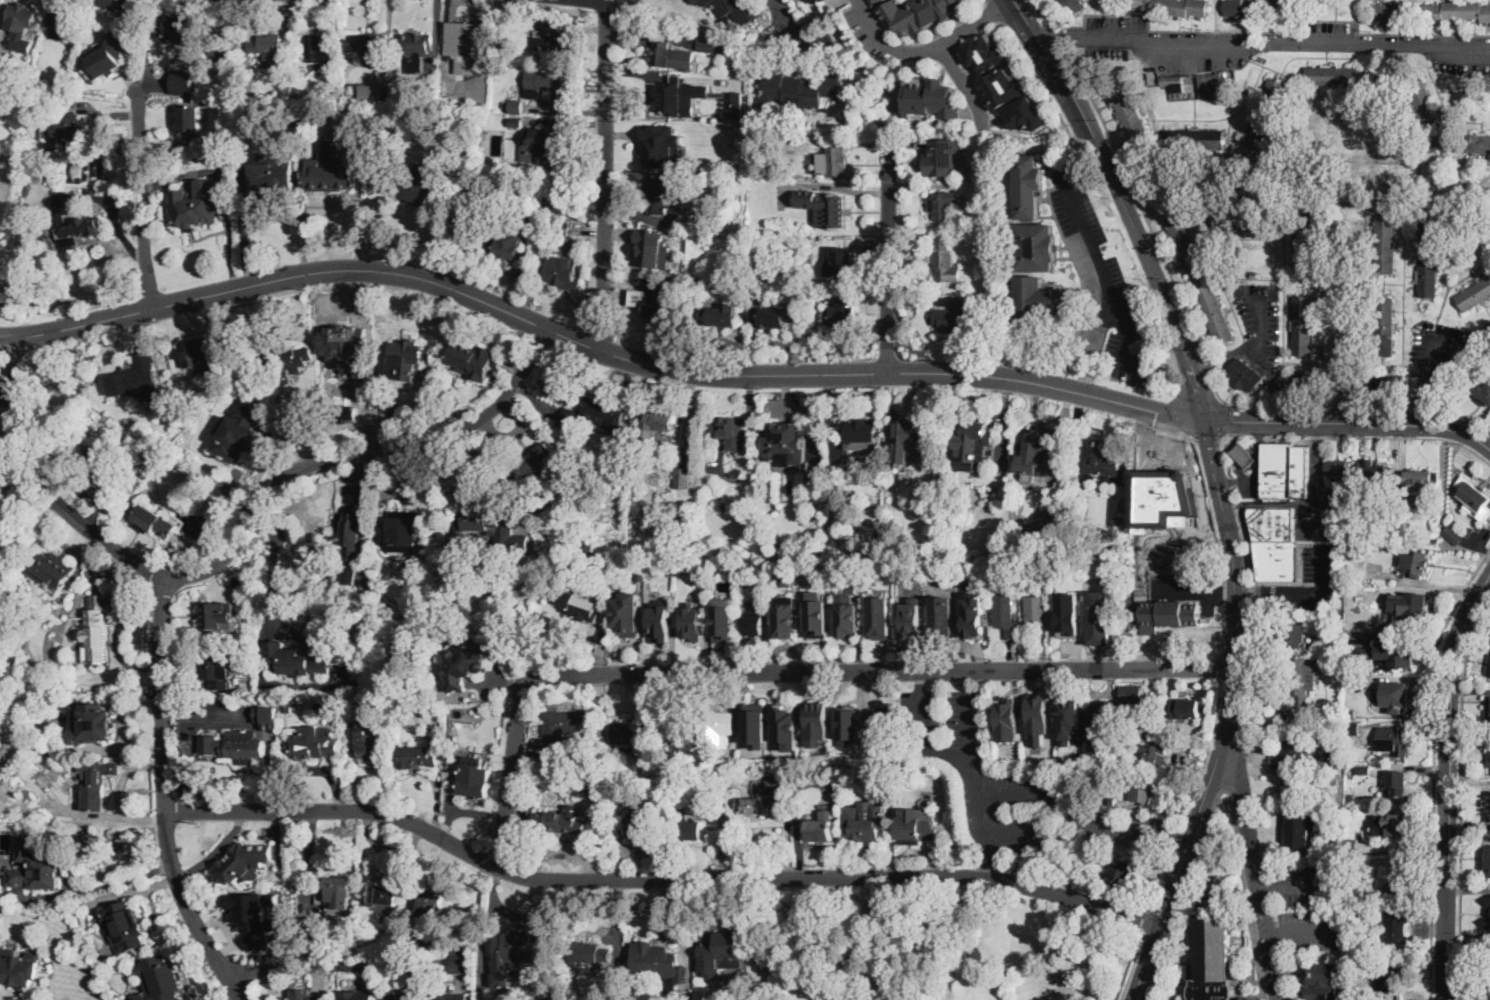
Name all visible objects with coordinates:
building: (694, 1)
building: (818, 1)
building: (875, 1)
building: (111, 4)
road: (591, 5)
building: (1073, 5)
building: (1176, 6)
building: (1253, 6)
building: (1457, 10)
building: (736, 11)
road: (995, 11)
building: (1391, 11)
building: (920, 13)
road: (1040, 13)
building: (20, 18)
building: (60, 26)
road: (790, 26)
building: (182, 30)
road: (1046, 38)
road: (1056, 38)
building: (552, 40)
building: (364, 43)
building: (467, 44)
building: (713, 45)
building: (268, 46)
building: (320, 48)
building: (415, 49)
road: (931, 49)
road: (1043, 49)
building: (984, 52)
building: (108, 56)
building: (671, 56)
building: (892, 60)
building: (293, 68)
building: (731, 72)
building: (22, 73)
building: (1346, 75)
road: (1039, 80)
building: (182, 81)
building: (1174, 82)
building: (22, 83)
building: (1209, 84)
building: (549, 85)
road: (964, 86)
building: (1001, 86)
building: (801, 89)
building: (373, 92)
building: (246, 94)
building: (681, 95)
building: (930, 96)
building: (406, 97)
building: (734, 103)
building: (514, 106)
building: (1265, 112)
building: (1023, 114)
building: (1130, 115)
building: (455, 116)
building: (1427, 116)
building: (188, 118)
building: (515, 122)
building: (760, 131)
building: (70, 132)
building: (1194, 137)
building: (1481, 142)
building: (482, 145)
building: (547, 145)
building: (662, 145)
building: (52, 146)
building: (222, 157)
building: (941, 159)
building: (833, 162)
building: (328, 170)
building: (272, 175)
road: (605, 178)
building: (1028, 186)
building: (420, 187)
building: (661, 194)
road: (1139, 202)
building: (196, 203)
road: (144, 204)
building: (943, 205)
building: (823, 206)
building: (523, 218)
building: (1248, 225)
building: (562, 228)
building: (79, 231)
building: (1185, 241)
building: (1385, 242)
building: (1035, 247)
building: (1303, 247)
building: (651, 248)
building: (507, 249)
road: (1147, 255)
building: (1428, 255)
road: (886, 260)
building: (945, 260)
building: (842, 263)
building: (562, 273)
building: (768, 273)
road: (304, 274)
building: (730, 276)
road: (1105, 281)
parking lot: (1102, 290)
building: (1474, 294)
building: (659, 300)
building: (1032, 302)
building: (842, 312)
building: (1215, 313)
building: (720, 314)
building: (778, 317)
building: (955, 317)
parking lot: (1261, 322)
building: (1303, 325)
building: (1384, 326)
road: (1099, 331)
building: (205, 352)
building: (286, 358)
building: (406, 359)
building: (472, 360)
building: (127, 362)
building: (241, 362)
road: (1207, 366)
road: (903, 372)
building: (1245, 375)
building: (135, 378)
building: (1296, 381)
road: (1085, 382)
building: (1389, 382)
building: (1483, 387)
building: (8, 391)
road: (1194, 394)
road: (1341, 409)
building: (595, 416)
road: (1179, 416)
road: (1228, 419)
traffic signals: (1203, 420)
building: (658, 422)
road: (1349, 423)
building: (73, 428)
building: (728, 428)
building: (859, 431)
building: (976, 433)
building: (790, 436)
road: (1260, 437)
building: (237, 438)
road: (1208, 438)
road: (1381, 438)
building: (905, 439)
road: (1223, 441)
building: (1036, 442)
building: (1101, 451)
road: (1258, 452)
building: (1244, 455)
road: (1320, 456)
building: (536, 460)
building: (99, 466)
building: (1337, 467)
building: (1286, 470)
building: (1375, 470)
building: (683, 477)
building: (1420, 480)
road: (1231, 481)
road: (1246, 482)
road: (1226, 483)
road: (267, 495)
building: (1474, 498)
building: (1163, 499)
building: (1361, 501)
road: (1279, 503)
building: (1119, 519)
building: (154, 520)
building: (485, 522)
road: (1336, 523)
building: (1271, 524)
building: (1381, 526)
building: (401, 532)
building: (1453, 534)
building: (1432, 540)
road: (1219, 541)
building: (351, 545)
building: (567, 545)
building: (559, 546)
building: (588, 548)
building: (1277, 559)
building: (1415, 562)
road: (270, 566)
building: (53, 567)
building: (1355, 575)
building: (640, 576)
building: (424, 577)
building: (786, 581)
building: (743, 582)
building: (525, 588)
road: (1184, 592)
road: (1225, 592)
road: (1247, 592)
road: (1313, 594)
building: (575, 603)
building: (1395, 604)
road: (1249, 605)
building: (544, 612)
building: (627, 613)
building: (217, 614)
building: (847, 614)
building: (1068, 614)
building: (1169, 614)
building: (942, 615)
building: (972, 615)
building: (1005, 615)
building: (1036, 615)
building: (723, 617)
building: (1099, 618)
building: (817, 619)
building: (911, 619)
building: (785, 621)
building: (691, 622)
building: (394, 623)
building: (659, 623)
building: (754, 623)
building: (878, 623)
building: (94, 630)
building: (1294, 636)
road: (119, 640)
building: (1388, 653)
building: (294, 660)
building: (466, 664)
road: (1222, 666)
building: (1351, 667)
building: (218, 671)
road: (780, 673)
building: (1301, 679)
road: (965, 681)
building: (1354, 682)
building: (1396, 692)
building: (1131, 696)
building: (736, 701)
building: (286, 706)
road: (921, 706)
building: (1185, 708)
building: (1488, 708)
building: (583, 709)
building: (1352, 713)
building: (1085, 714)
building: (1038, 716)
road: (1229, 716)
building: (1007, 719)
building: (1102, 719)
building: (289, 720)
building: (851, 720)
building: (92, 722)
building: (815, 722)
building: (881, 722)
building: (1069, 722)
building: (563, 724)
building: (755, 724)
road: (127, 725)
building: (224, 725)
building: (787, 725)
building: (270, 728)
building: (714, 728)
building: (1140, 728)
building: (1353, 728)
building: (636, 734)
building: (1314, 738)
building: (1394, 739)
road: (968, 740)
building: (372, 744)
building: (310, 746)
building: (1314, 747)
building: (1294, 748)
building: (676, 749)
building: (241, 750)
building: (1003, 752)
road: (1206, 754)
building: (555, 755)
building: (1155, 756)
building: (417, 757)
building: (581, 757)
building: (1333, 757)
building: (1489, 758)
building: (732, 759)
building: (1061, 759)
road: (1434, 766)
road: (308, 769)
building: (1363, 770)
building: (91, 776)
building: (1333, 776)
building: (474, 781)
road: (1448, 783)
building: (1292, 788)
building: (1397, 788)
building: (1143, 790)
road: (121, 792)
building: (731, 794)
road: (165, 795)
building: (765, 797)
road: (1462, 797)
building: (1350, 798)
road: (974, 800)
building: (1112, 800)
building: (1488, 807)
building: (556, 822)
building: (641, 822)
building: (865, 822)
building: (1391, 824)
road: (1114, 827)
building: (692, 830)
building: (921, 830)
building: (1300, 830)
building: (818, 831)
road: (1178, 837)
building: (1336, 844)
building: (1349, 846)
road: (985, 850)
building: (1488, 859)
building: (244, 861)
building: (1083, 866)
building: (34, 867)
road: (1258, 867)
building: (1119, 874)
building: (1398, 874)
road: (122, 878)
road: (1164, 878)
building: (258, 880)
road: (659, 880)
building: (337, 885)
road: (1299, 886)
road: (1078, 887)
road: (1271, 888)
building: (383, 894)
road: (1185, 895)
building: (428, 902)
road: (1166, 910)
building: (1489, 912)
building: (255, 915)
road: (1149, 919)
building: (124, 926)
building: (1396, 929)
road: (1310, 930)
road: (1275, 932)
building: (805, 941)
building: (385, 943)
building: (427, 943)
building: (513, 945)
building: (722, 947)
building: (589, 952)
building: (1213, 955)
road: (335, 961)
road: (1134, 965)
building: (660, 966)
building: (18, 969)
building: (115, 971)
building: (1390, 973)
building: (161, 978)
building: (1324, 980)
building: (1485, 992)
building: (356, 995)
building: (308, 997)
building: (404, 997)
building: (452, 997)
building: (1248, 999)

